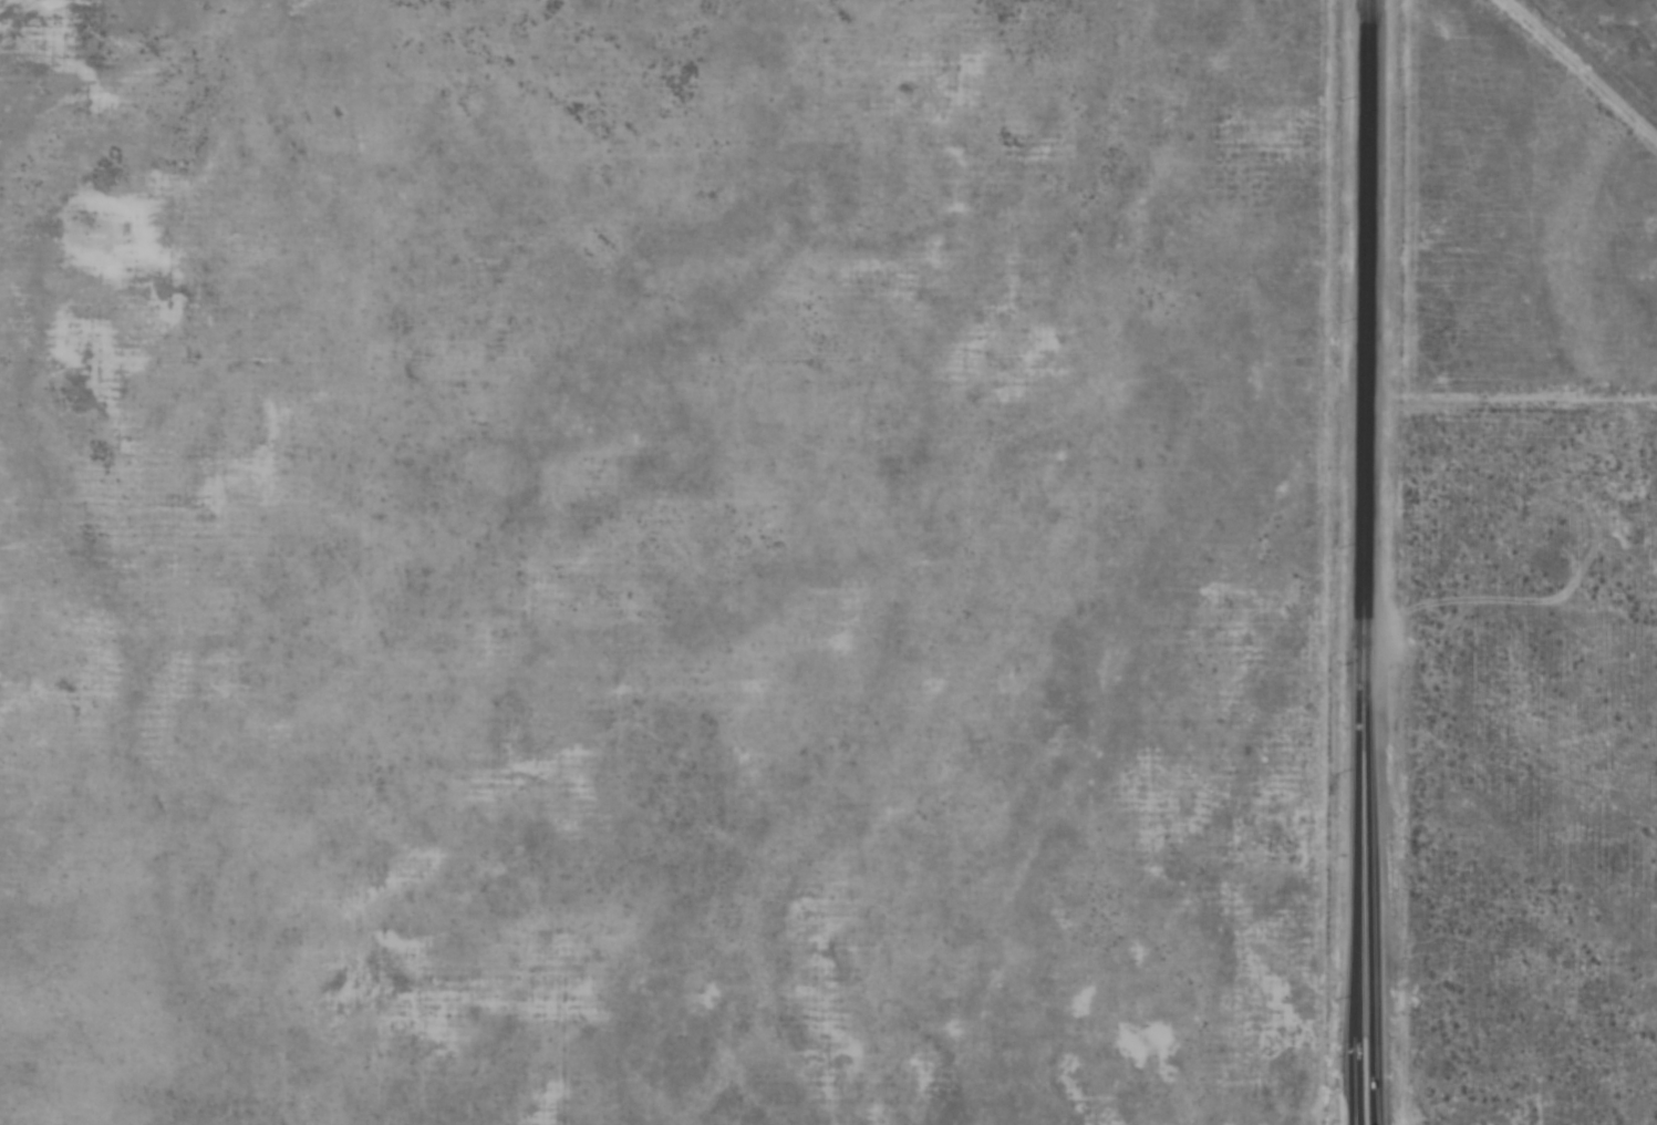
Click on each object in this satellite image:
road: (1373, 562)

